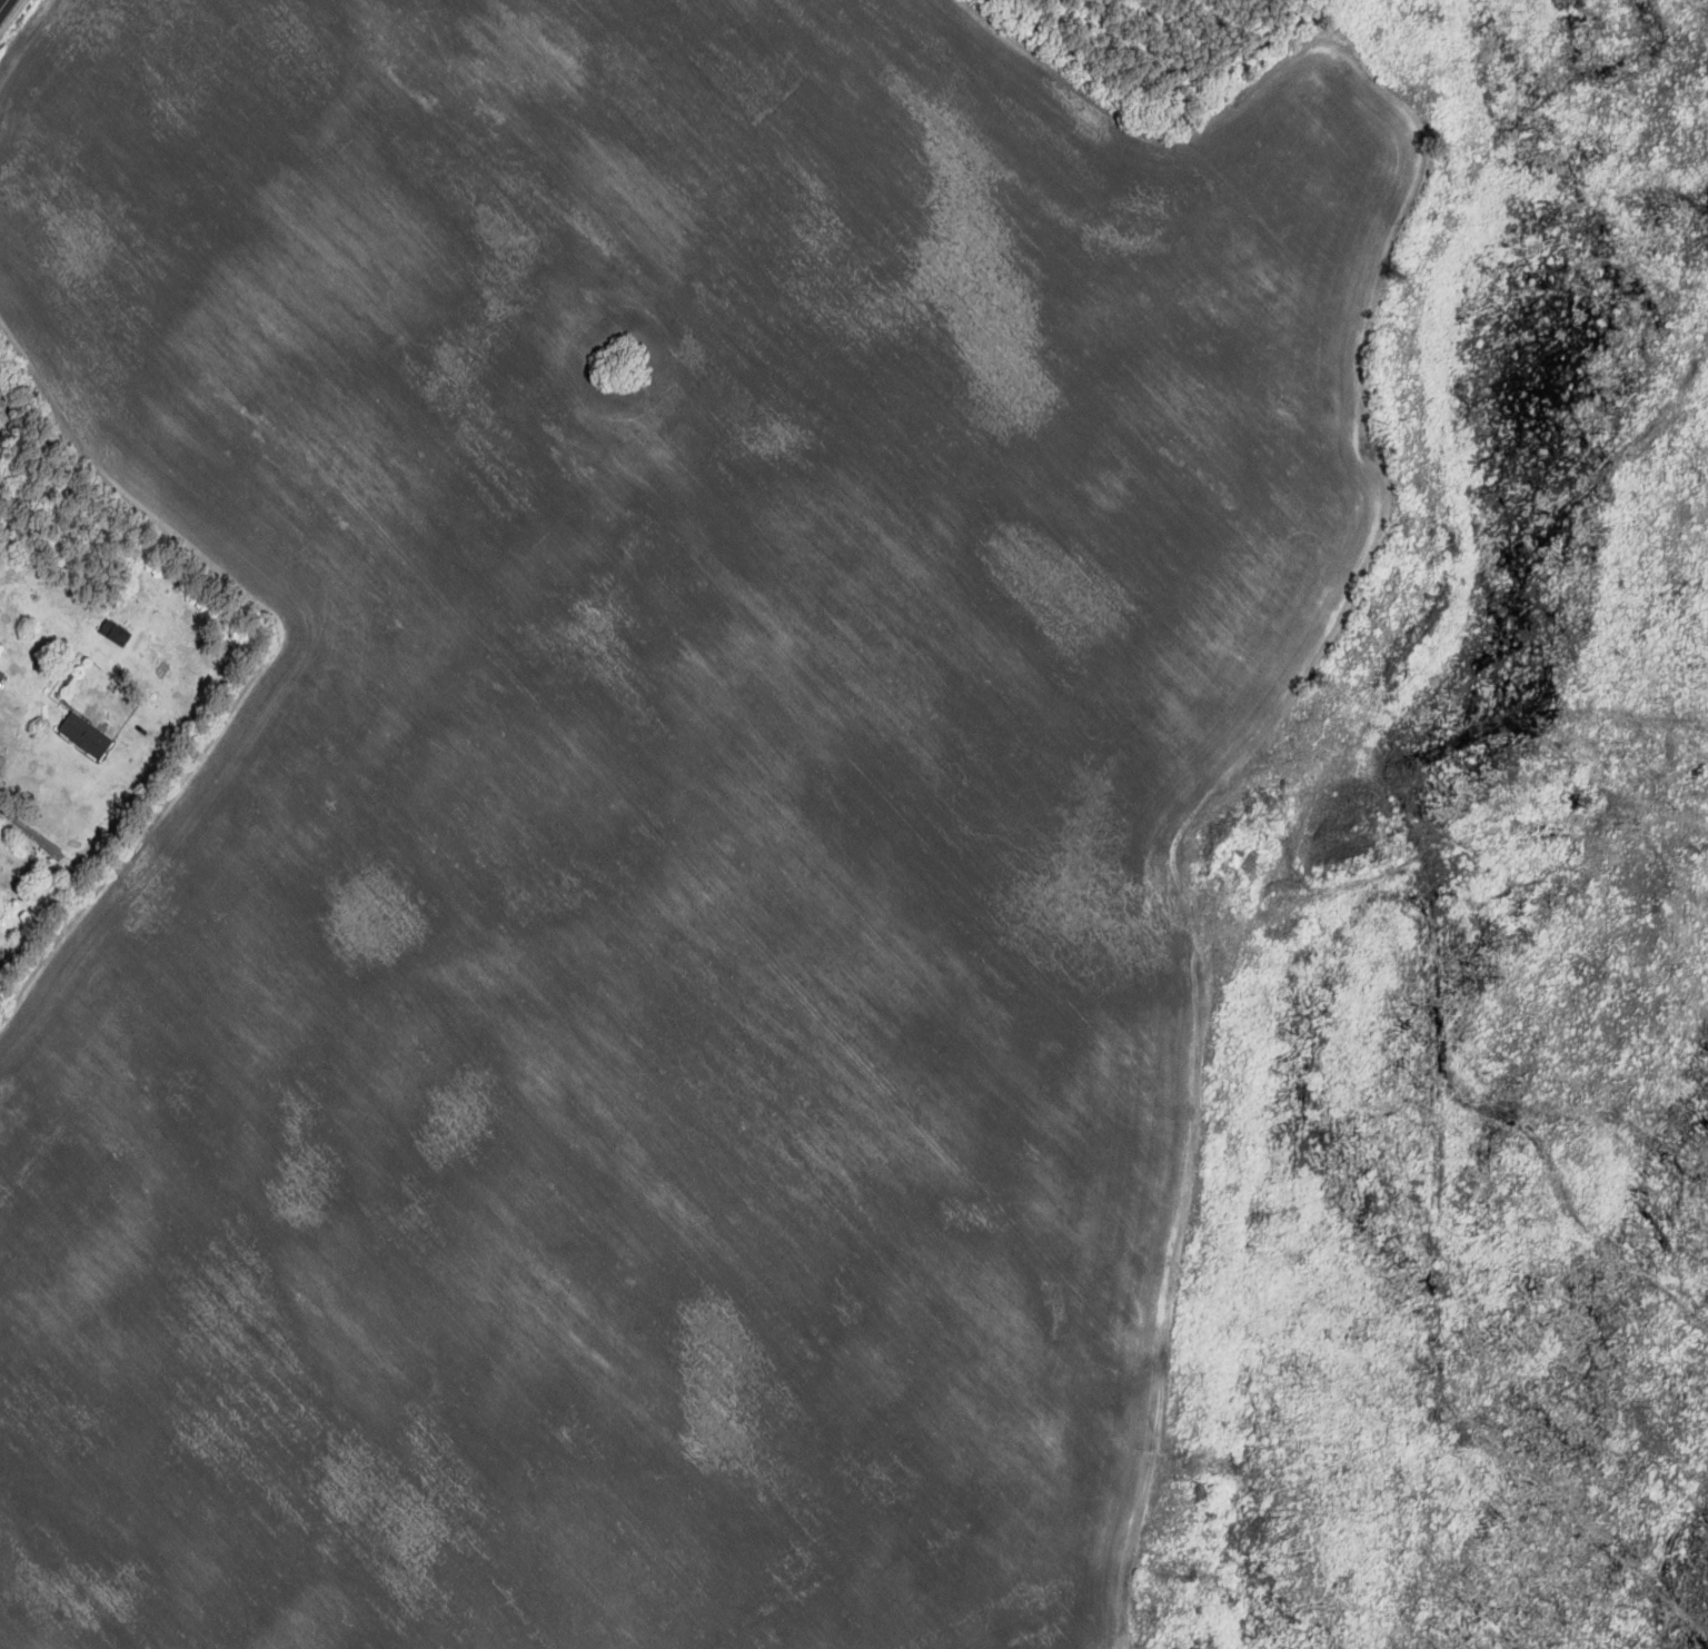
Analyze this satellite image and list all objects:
road: (3, 6)
building: (113, 634)
building: (87, 736)
road: (47, 845)

